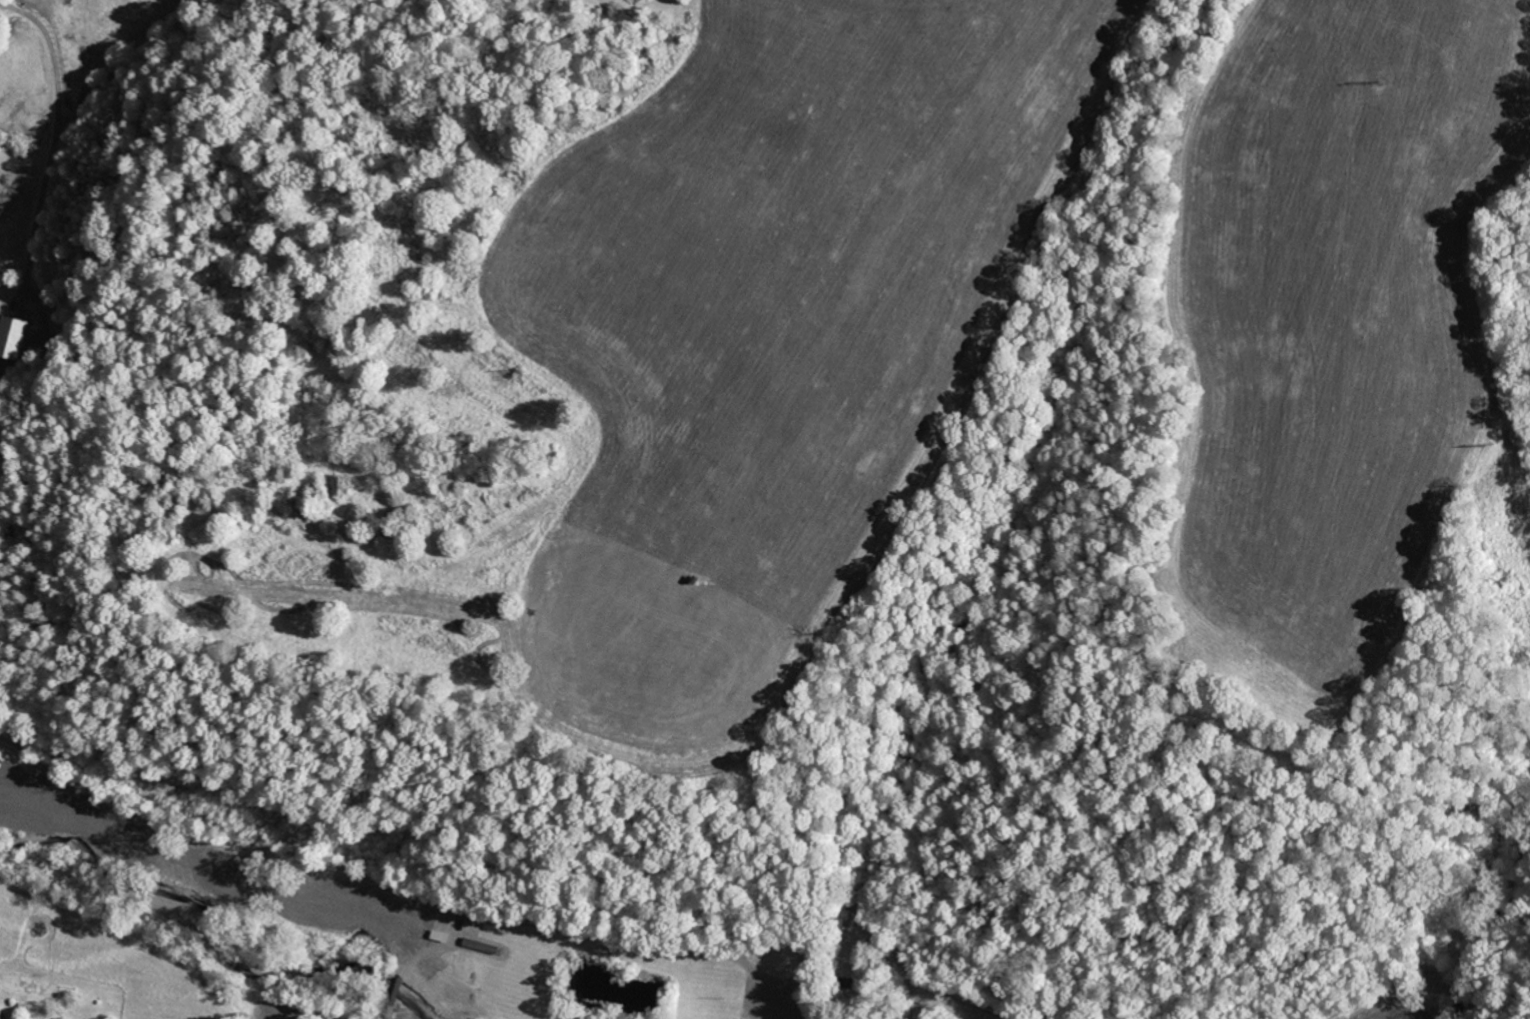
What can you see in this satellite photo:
building: (12, 337)
road: (506, 916)
road: (1413, 989)
building: (1, 1013)

